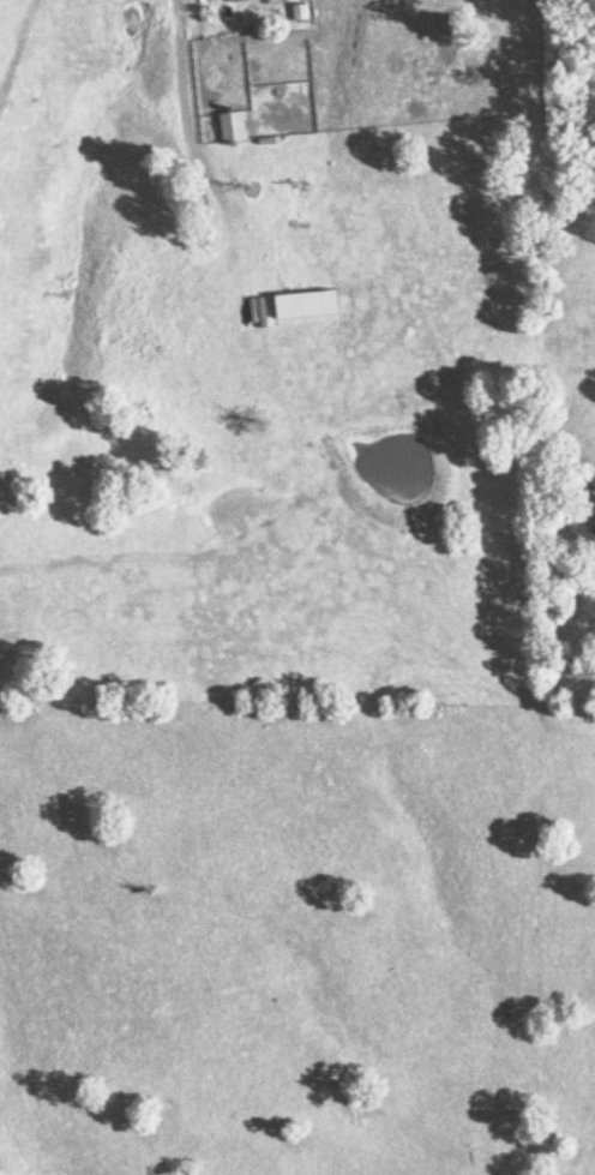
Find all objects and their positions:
building: (230, 128)

